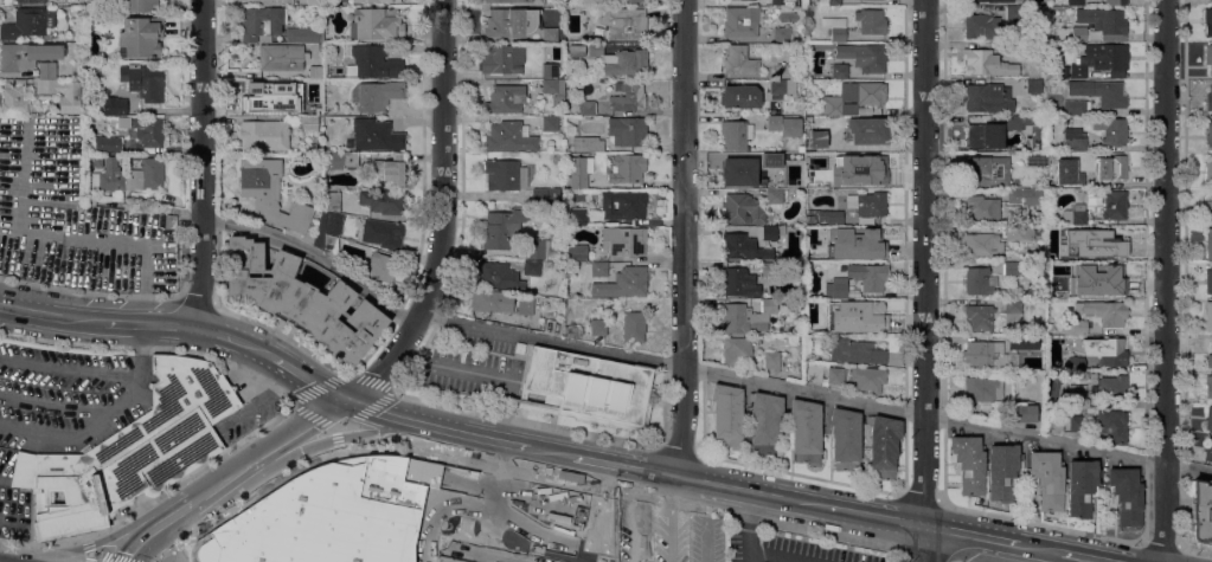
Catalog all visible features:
building: (500, 0)
building: (633, 0)
building: (1000, 0)
building: (1208, 0)
building: (1211, 0)
building: (32, 1)
building: (314, 1)
building: (373, 1)
building: (780, 1)
building: (1076, 1)
building: (1115, 1)
building: (275, 2)
building: (833, 2)
building: (141, 5)
building: (1013, 12)
building: (1103, 19)
building: (871, 20)
building: (1207, 20)
building: (27, 21)
building: (508, 21)
building: (624, 21)
building: (742, 21)
building: (378, 24)
building: (982, 25)
building: (275, 26)
building: (834, 27)
building: (549, 33)
building: (782, 33)
building: (1079, 34)
building: (141, 35)
building: (577, 50)
building: (1017, 50)
building: (27, 54)
building: (865, 56)
building: (1208, 56)
building: (282, 57)
building: (1108, 57)
building: (502, 58)
building: (620, 59)
building: (739, 59)
building: (371, 60)
building: (981, 60)
building: (316, 70)
building: (550, 70)
building: (785, 70)
building: (839, 70)
building: (1077, 71)
building: (145, 80)
building: (553, 85)
building: (1033, 85)
building: (59, 86)
building: (782, 86)
building: (1099, 91)
building: (258, 92)
building: (378, 93)
building: (628, 96)
building: (740, 96)
building: (854, 96)
building: (988, 97)
building: (506, 98)
building: (1208, 98)
building: (13, 101)
building: (113, 105)
building: (126, 106)
building: (286, 106)
building: (1075, 106)
building: (582, 108)
building: (123, 121)
building: (549, 122)
building: (1018, 122)
building: (308, 123)
building: (785, 124)
building: (867, 129)
building: (628, 130)
building: (1111, 130)
building: (150, 131)
building: (736, 134)
building: (1208, 134)
building: (264, 135)
building: (374, 135)
building: (981, 135)
building: (508, 136)
building: (1073, 136)
building: (817, 137)
building: (108, 142)
building: (588, 143)
building: (801, 148)
building: (328, 150)
building: (770, 159)
building: (1037, 159)
building: (340, 160)
road: (201, 163)
building: (390, 167)
building: (624, 167)
building: (1112, 167)
building: (873, 169)
building: (581, 170)
building: (738, 170)
building: (987, 170)
building: (1208, 170)
building: (780, 172)
building: (505, 174)
building: (128, 175)
building: (838, 175)
building: (1070, 175)
building: (546, 195)
building: (777, 195)
building: (1026, 195)
building: (332, 201)
building: (384, 201)
building: (867, 202)
building: (623, 204)
building: (1115, 205)
building: (267, 207)
building: (744, 208)
building: (980, 208)
building: (1208, 209)
building: (1078, 213)
parking lot: (72, 215)
building: (578, 215)
building: (831, 215)
road: (443, 217)
building: (504, 227)
building: (1020, 231)
building: (383, 232)
building: (770, 232)
road: (684, 238)
building: (1111, 239)
building: (623, 240)
building: (872, 240)
building: (1208, 241)
building: (983, 244)
building: (538, 247)
building: (744, 247)
building: (577, 252)
building: (832, 252)
building: (1072, 253)
road: (315, 256)
building: (546, 264)
building: (553, 264)
building: (380, 266)
building: (532, 267)
building: (768, 267)
building: (598, 269)
building: (1012, 269)
road: (1185, 273)
building: (499, 276)
building: (868, 276)
building: (1105, 276)
building: (739, 280)
road: (924, 280)
building: (977, 280)
road: (1165, 280)
building: (1208, 280)
building: (623, 283)
building: (836, 288)
building: (1067, 288)
road: (89, 290)
road: (195, 297)
building: (301, 298)
building: (490, 301)
building: (526, 305)
road: (30, 310)
building: (1014, 310)
building: (1104, 311)
building: (871, 315)
building: (748, 316)
building: (980, 316)
road: (81, 318)
building: (1208, 321)
road: (148, 322)
building: (836, 323)
building: (634, 325)
building: (1076, 325)
building: (598, 327)
building: (1050, 327)
road: (282, 332)
road: (236, 338)
building: (1024, 342)
road: (143, 345)
road: (153, 347)
building: (519, 348)
building: (737, 350)
building: (855, 350)
building: (1114, 351)
building: (986, 355)
building: (1208, 356)
building: (777, 360)
building: (1077, 363)
parking lot: (472, 364)
road: (69, 368)
building: (834, 375)
road: (309, 379)
building: (868, 379)
building: (1208, 386)
building: (588, 387)
building: (1111, 387)
building: (983, 388)
road: (816, 392)
building: (1078, 395)
traffic signals: (345, 400)
road: (299, 405)
building: (1022, 411)
building: (727, 414)
building: (1056, 415)
road: (524, 419)
building: (1208, 419)
building: (764, 422)
building: (1077, 422)
road: (424, 424)
building: (1112, 424)
building: (806, 429)
road: (83, 431)
road: (296, 431)
road: (338, 437)
road: (327, 439)
building: (846, 439)
road: (519, 445)
building: (884, 445)
road: (676, 448)
building: (128, 450)
building: (1208, 450)
road: (553, 453)
road: (313, 457)
building: (969, 461)
road: (624, 467)
road: (799, 471)
building: (1002, 471)
road: (192, 473)
building: (1049, 478)
road: (558, 479)
road: (220, 483)
building: (1082, 486)
road: (750, 491)
road: (918, 495)
building: (1127, 495)
road: (493, 496)
road: (682, 503)
road: (480, 509)
building: (1201, 511)
road: (177, 512)
building: (328, 515)
road: (873, 516)
road: (1039, 522)
road: (748, 527)
road: (833, 534)
road: (970, 534)
road: (140, 541)
road: (85, 543)
road: (41, 544)
road: (1160, 544)
road: (82, 548)
road: (1040, 548)
road: (1194, 548)
road: (495, 553)
road: (85, 555)
road: (111, 555)
road: (925, 555)
road: (1086, 556)
road: (771, 557)
building: (447, 560)

